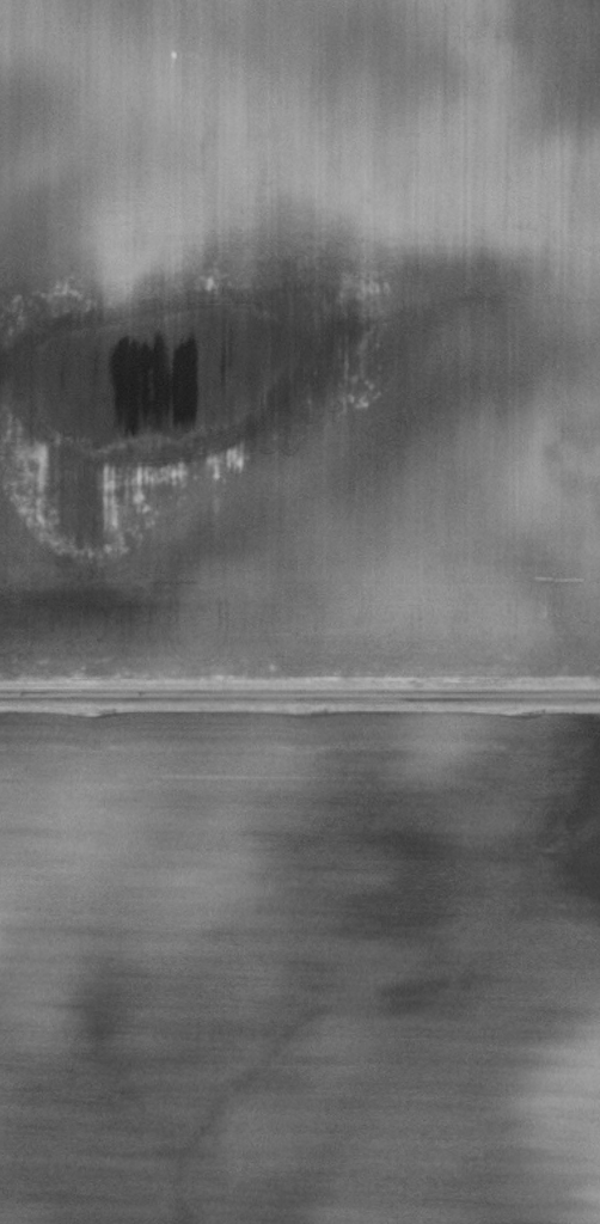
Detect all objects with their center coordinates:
road: (300, 693)

